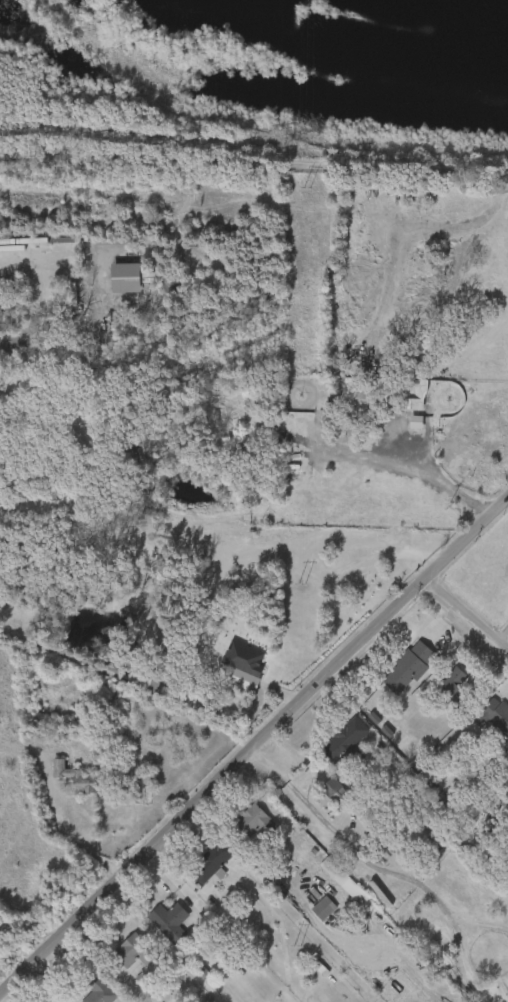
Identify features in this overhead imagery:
road: (254, 159)
building: (112, 282)
building: (370, 399)
building: (403, 426)
road: (411, 479)
road: (468, 615)
building: (231, 663)
building: (411, 666)
building: (131, 683)
building: (454, 687)
building: (437, 693)
building: (498, 713)
road: (255, 742)
building: (347, 742)
building: (78, 777)
building: (63, 782)
building: (318, 792)
building: (257, 822)
building: (239, 824)
road: (65, 833)
building: (215, 861)
building: (197, 866)
building: (345, 880)
building: (330, 885)
building: (325, 907)
building: (310, 912)
building: (173, 921)
building: (157, 926)
building: (132, 955)
building: (100, 989)
building: (88, 993)

